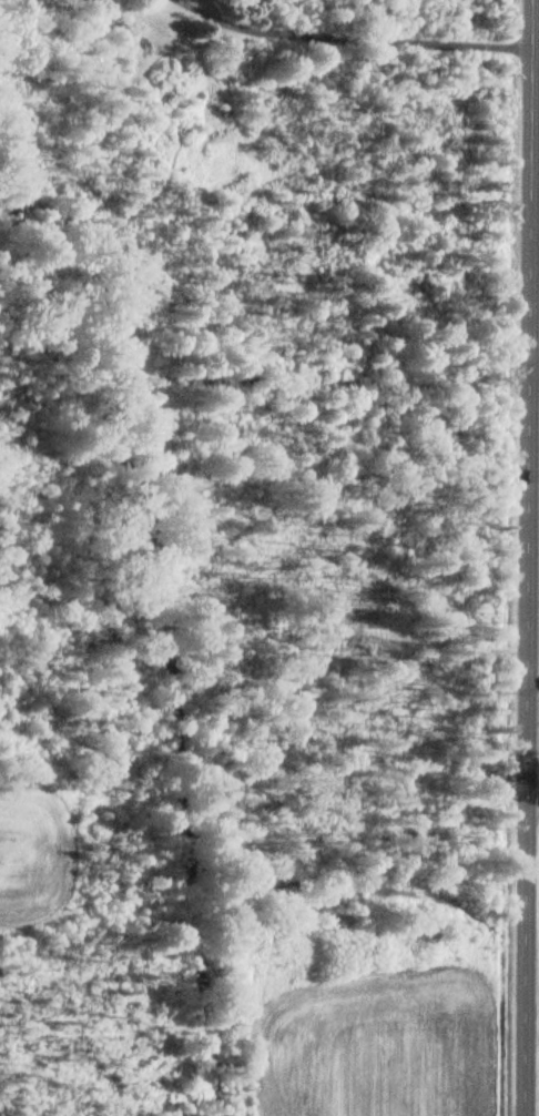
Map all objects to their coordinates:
road: (352, 32)
road: (525, 557)

